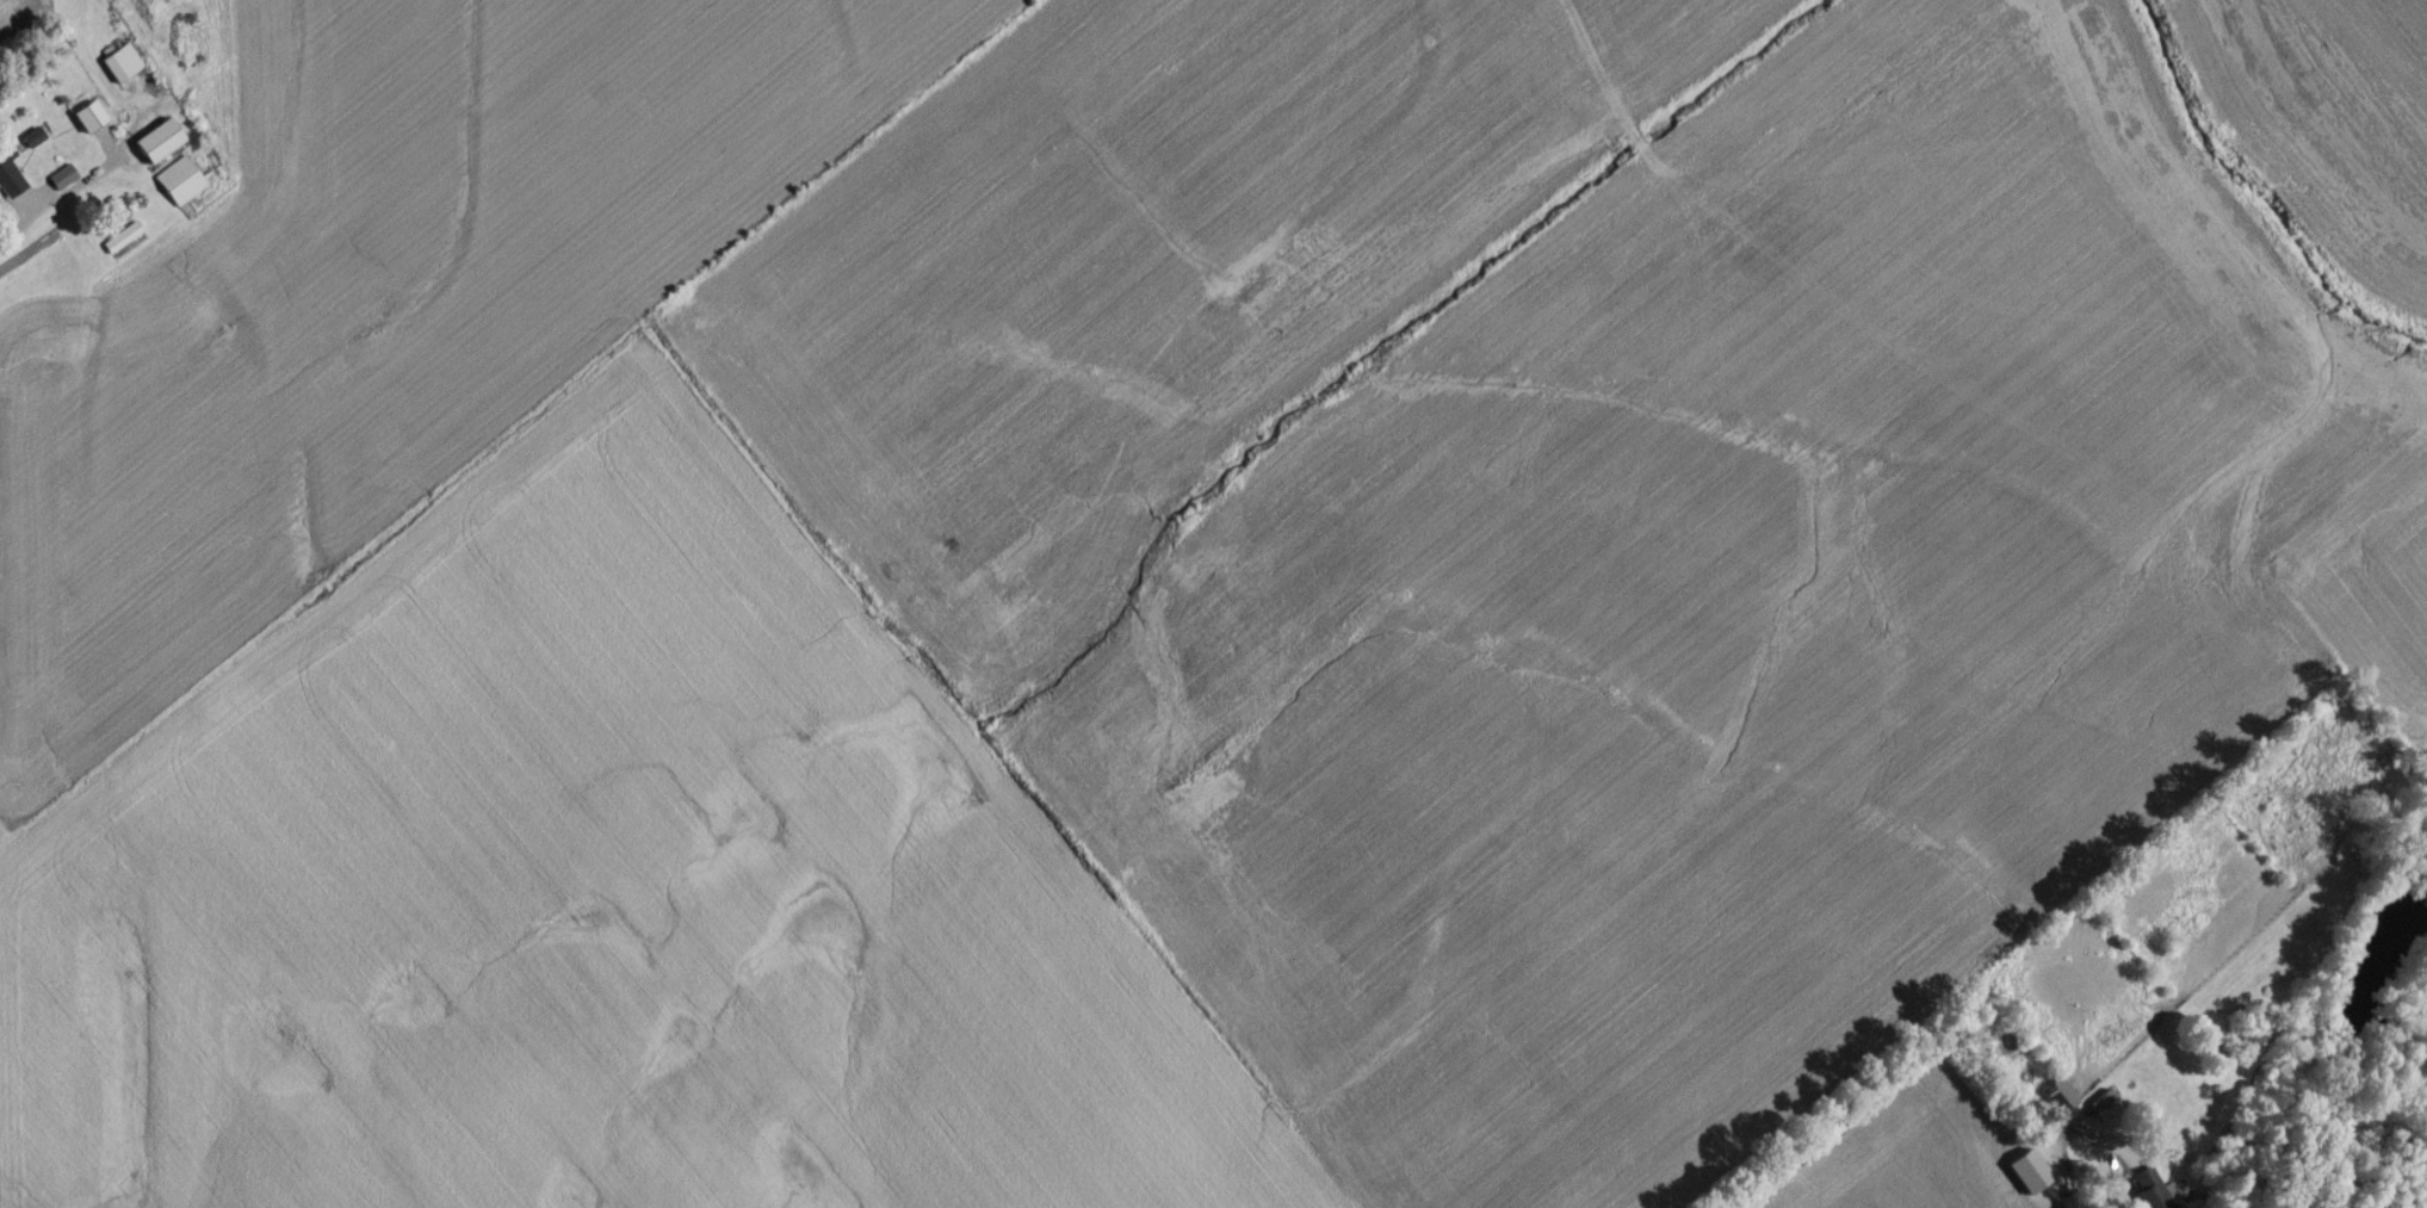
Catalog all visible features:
building: (120, 70)
building: (86, 123)
building: (178, 188)
building: (120, 213)
road: (19, 227)
building: (119, 244)
building: (2105, 1111)
road: (2144, 1167)

